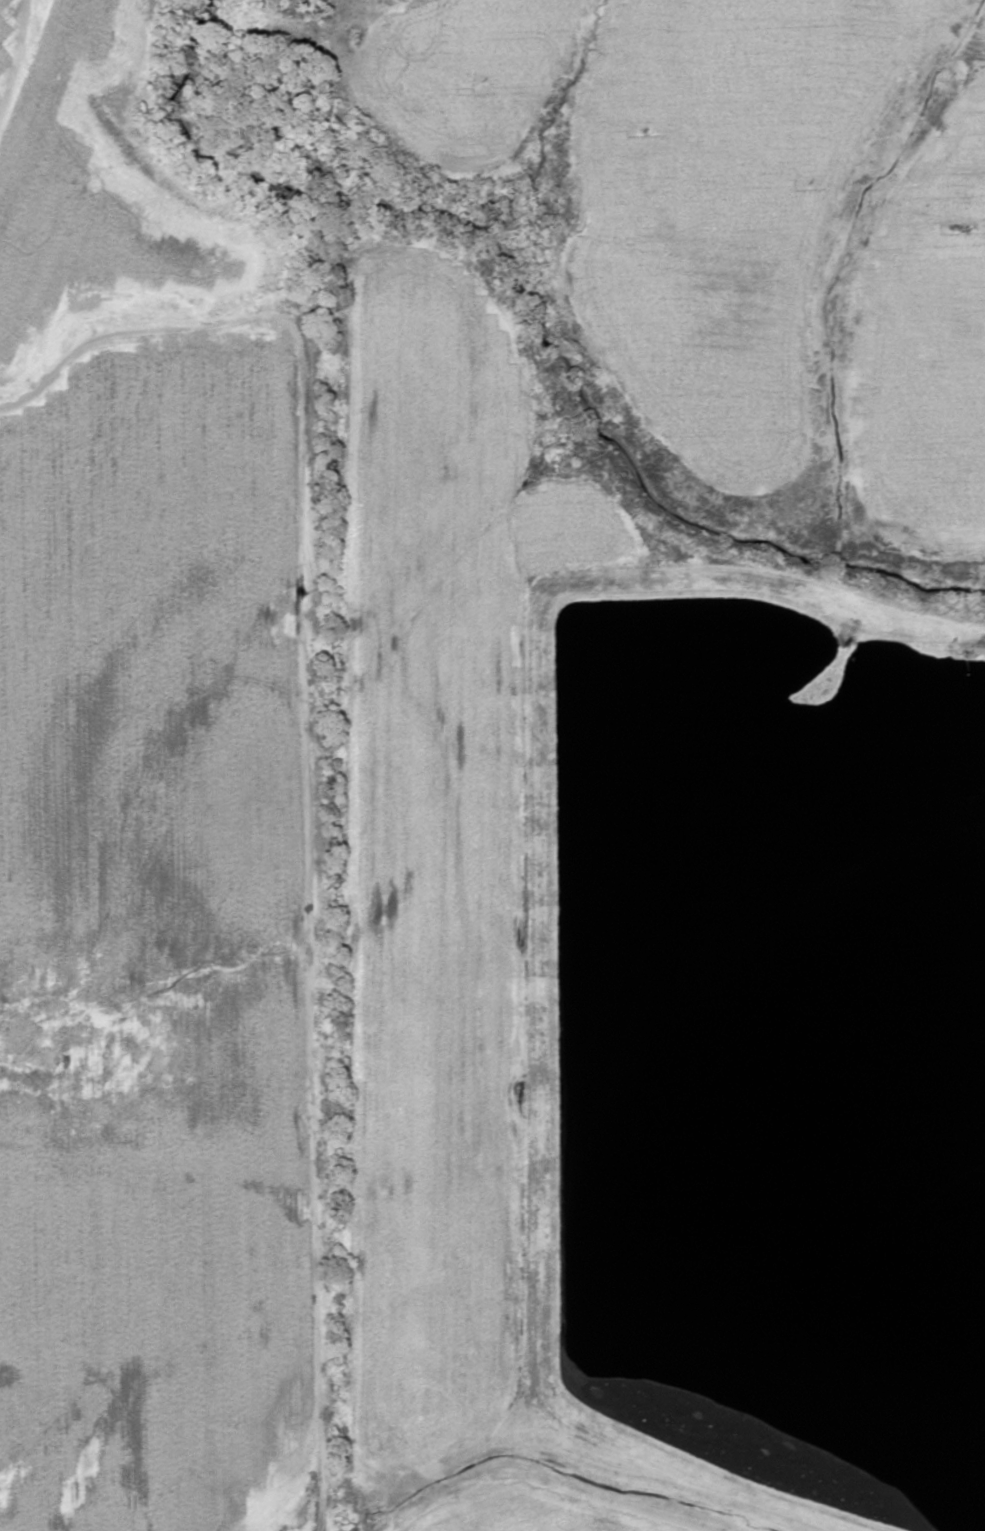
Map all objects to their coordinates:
road: (327, 1370)

